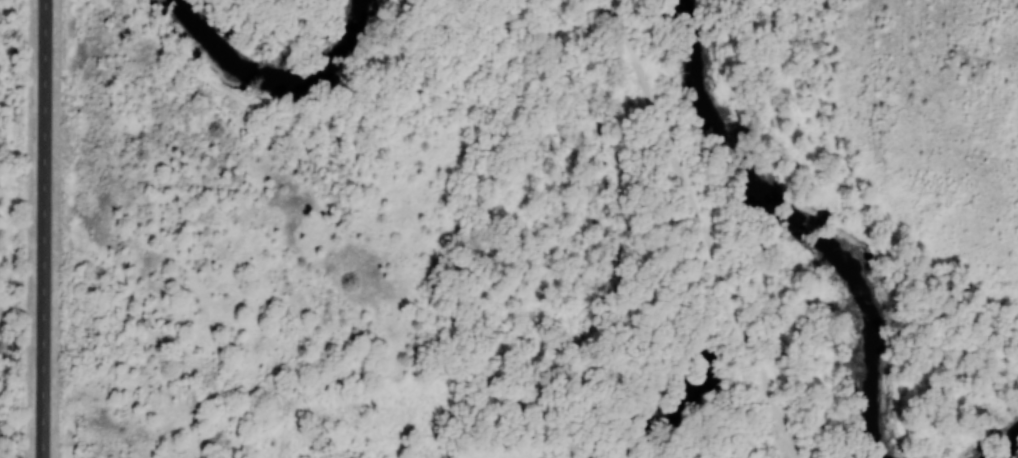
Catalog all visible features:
river: (280, 78)
road: (507, 99)
river: (801, 225)
road: (702, 228)
road: (45, 229)
road: (826, 426)
river: (1004, 445)
road: (749, 449)

